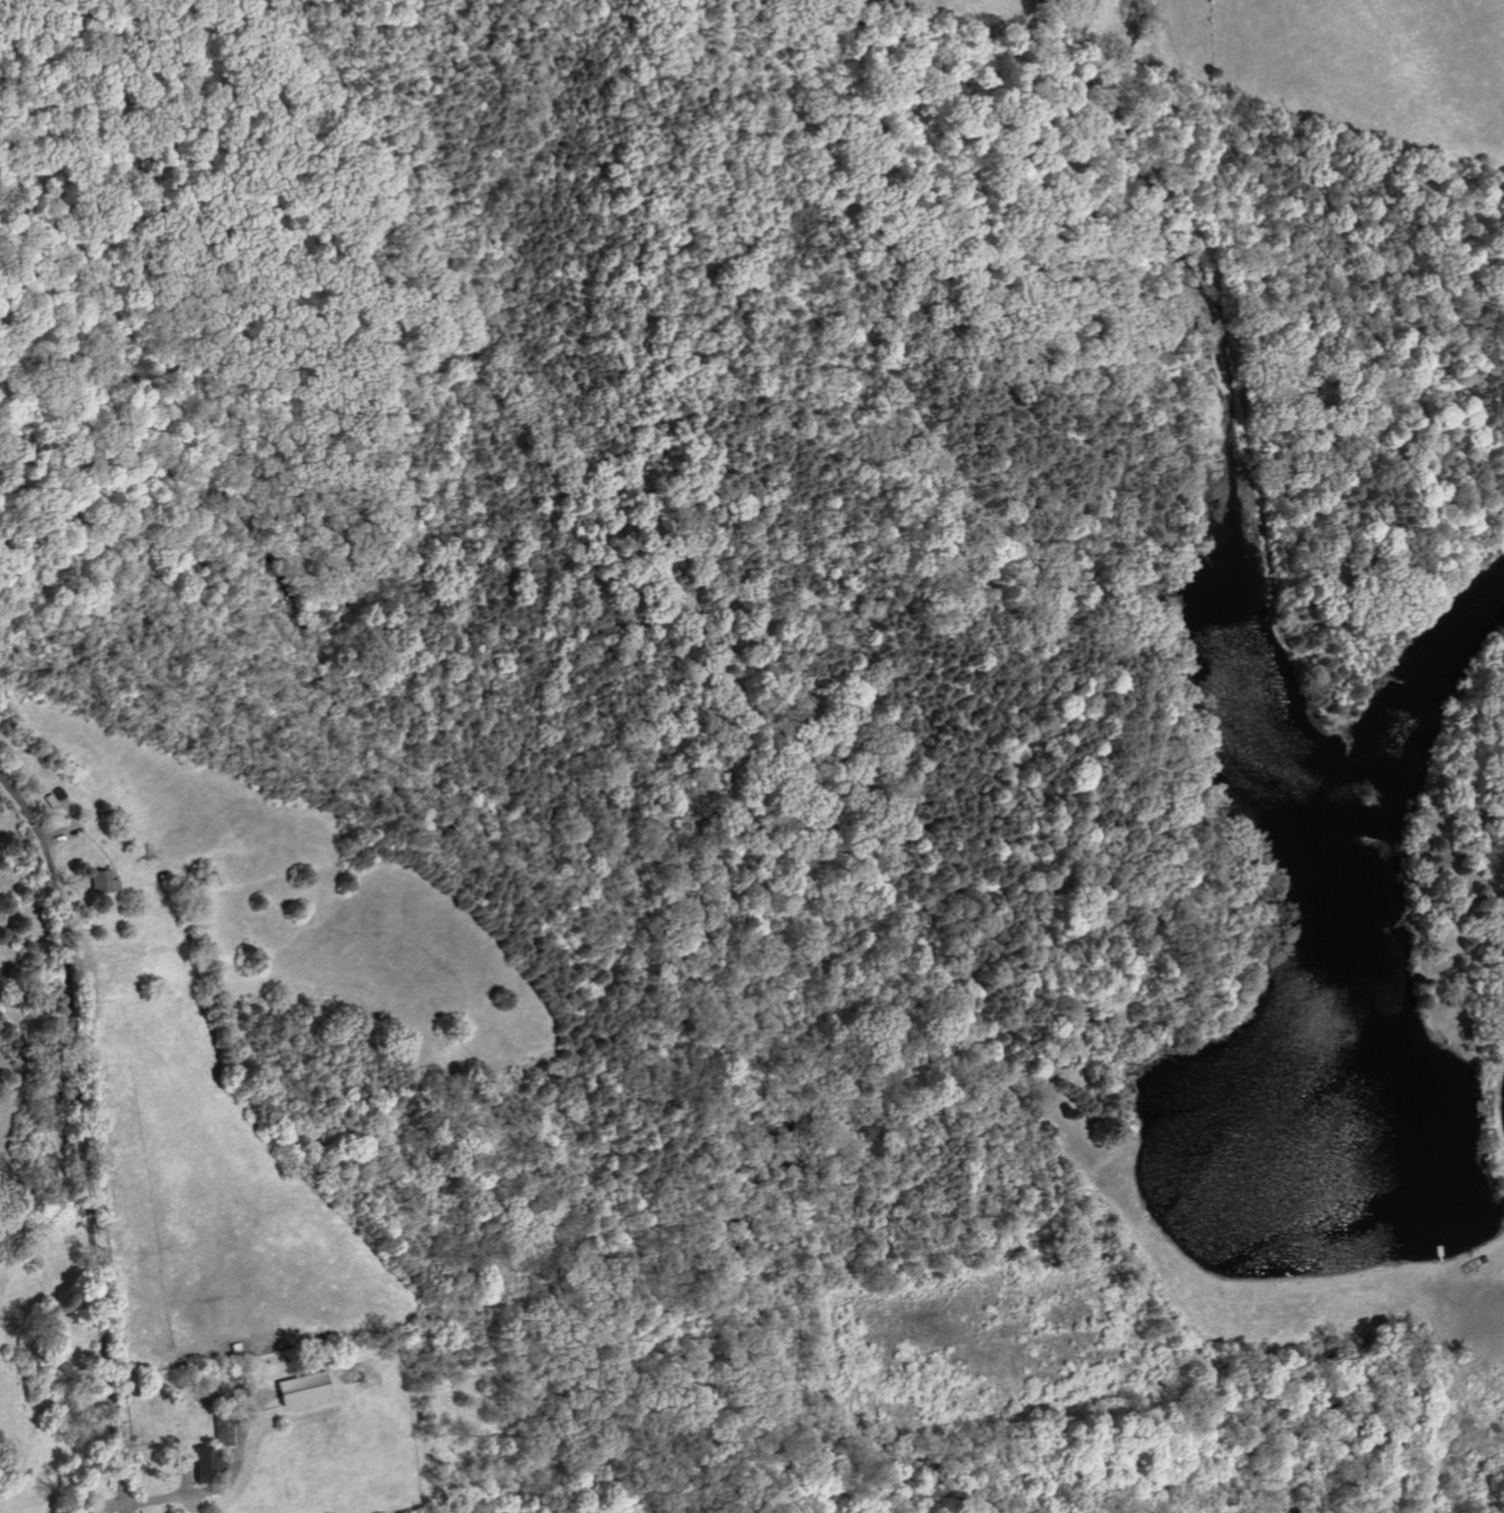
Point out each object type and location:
building: (50, 797)
building: (101, 882)
road: (80, 1139)
building: (300, 1389)
building: (198, 1460)

